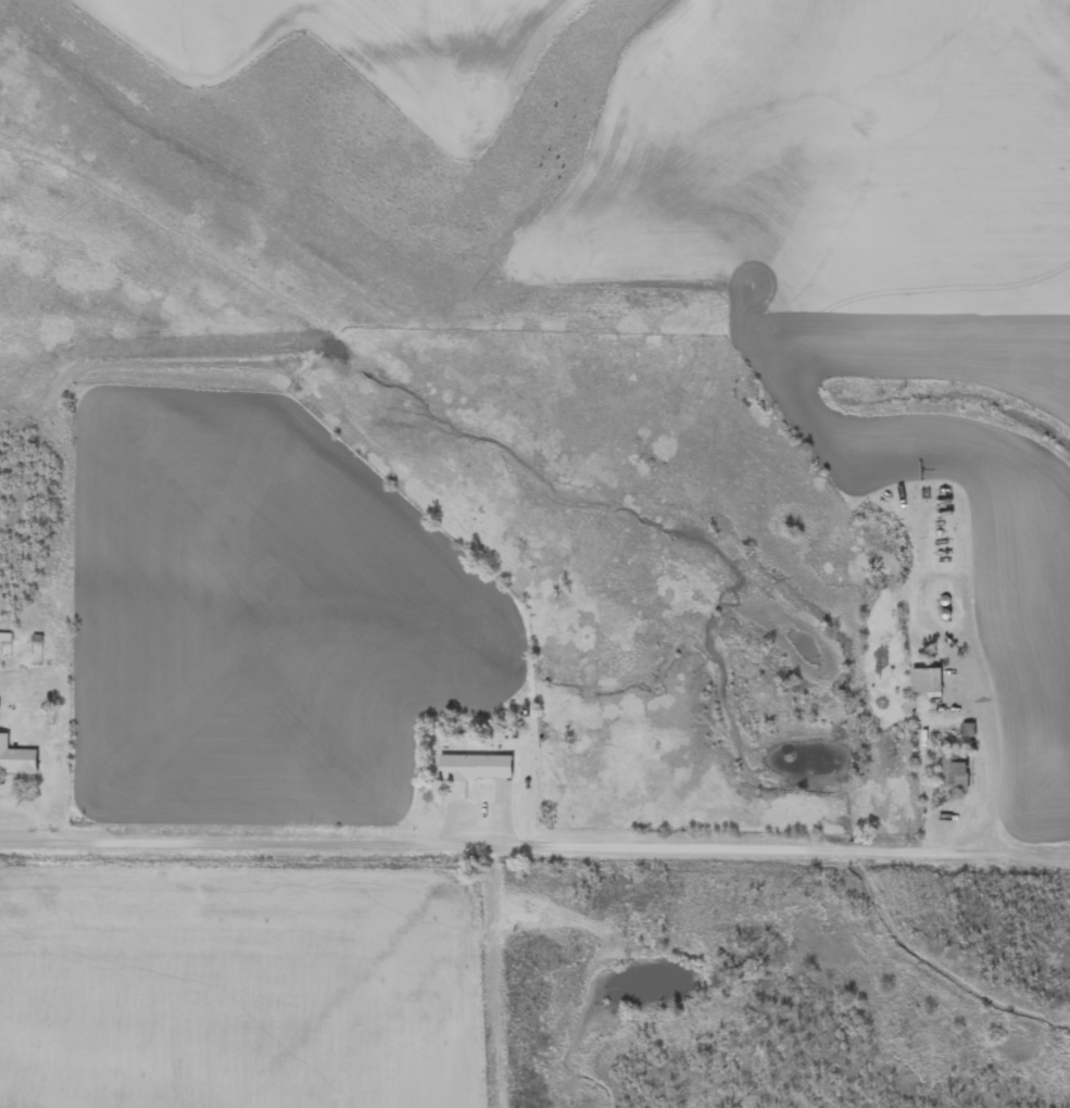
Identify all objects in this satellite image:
building: (926, 681)
building: (15, 761)
building: (474, 769)
building: (954, 771)
road: (534, 844)

